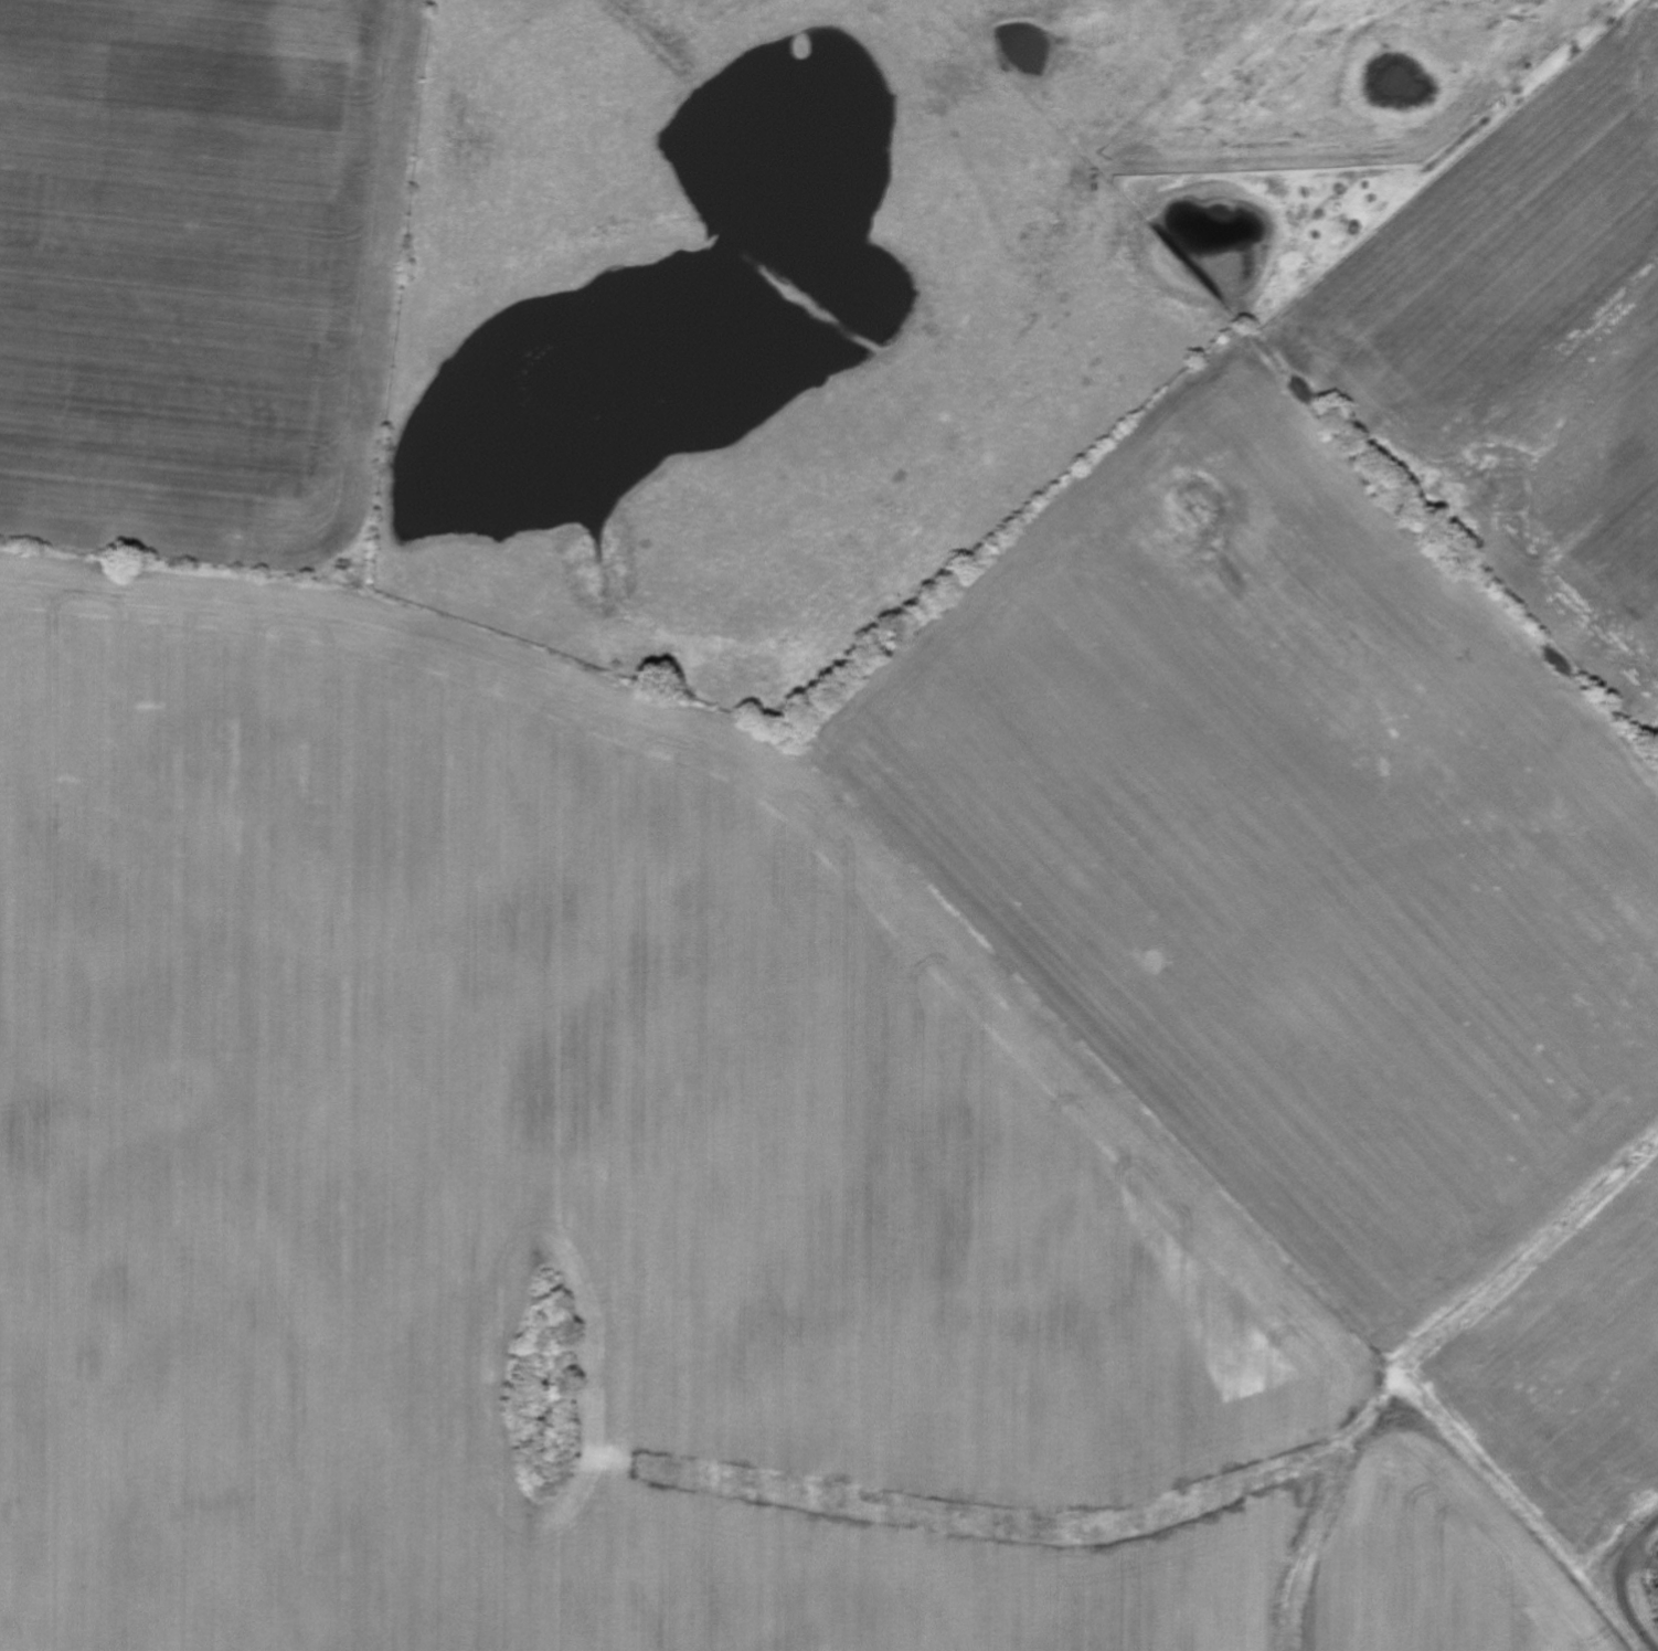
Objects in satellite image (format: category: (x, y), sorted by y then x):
road: (1620, 1584)

